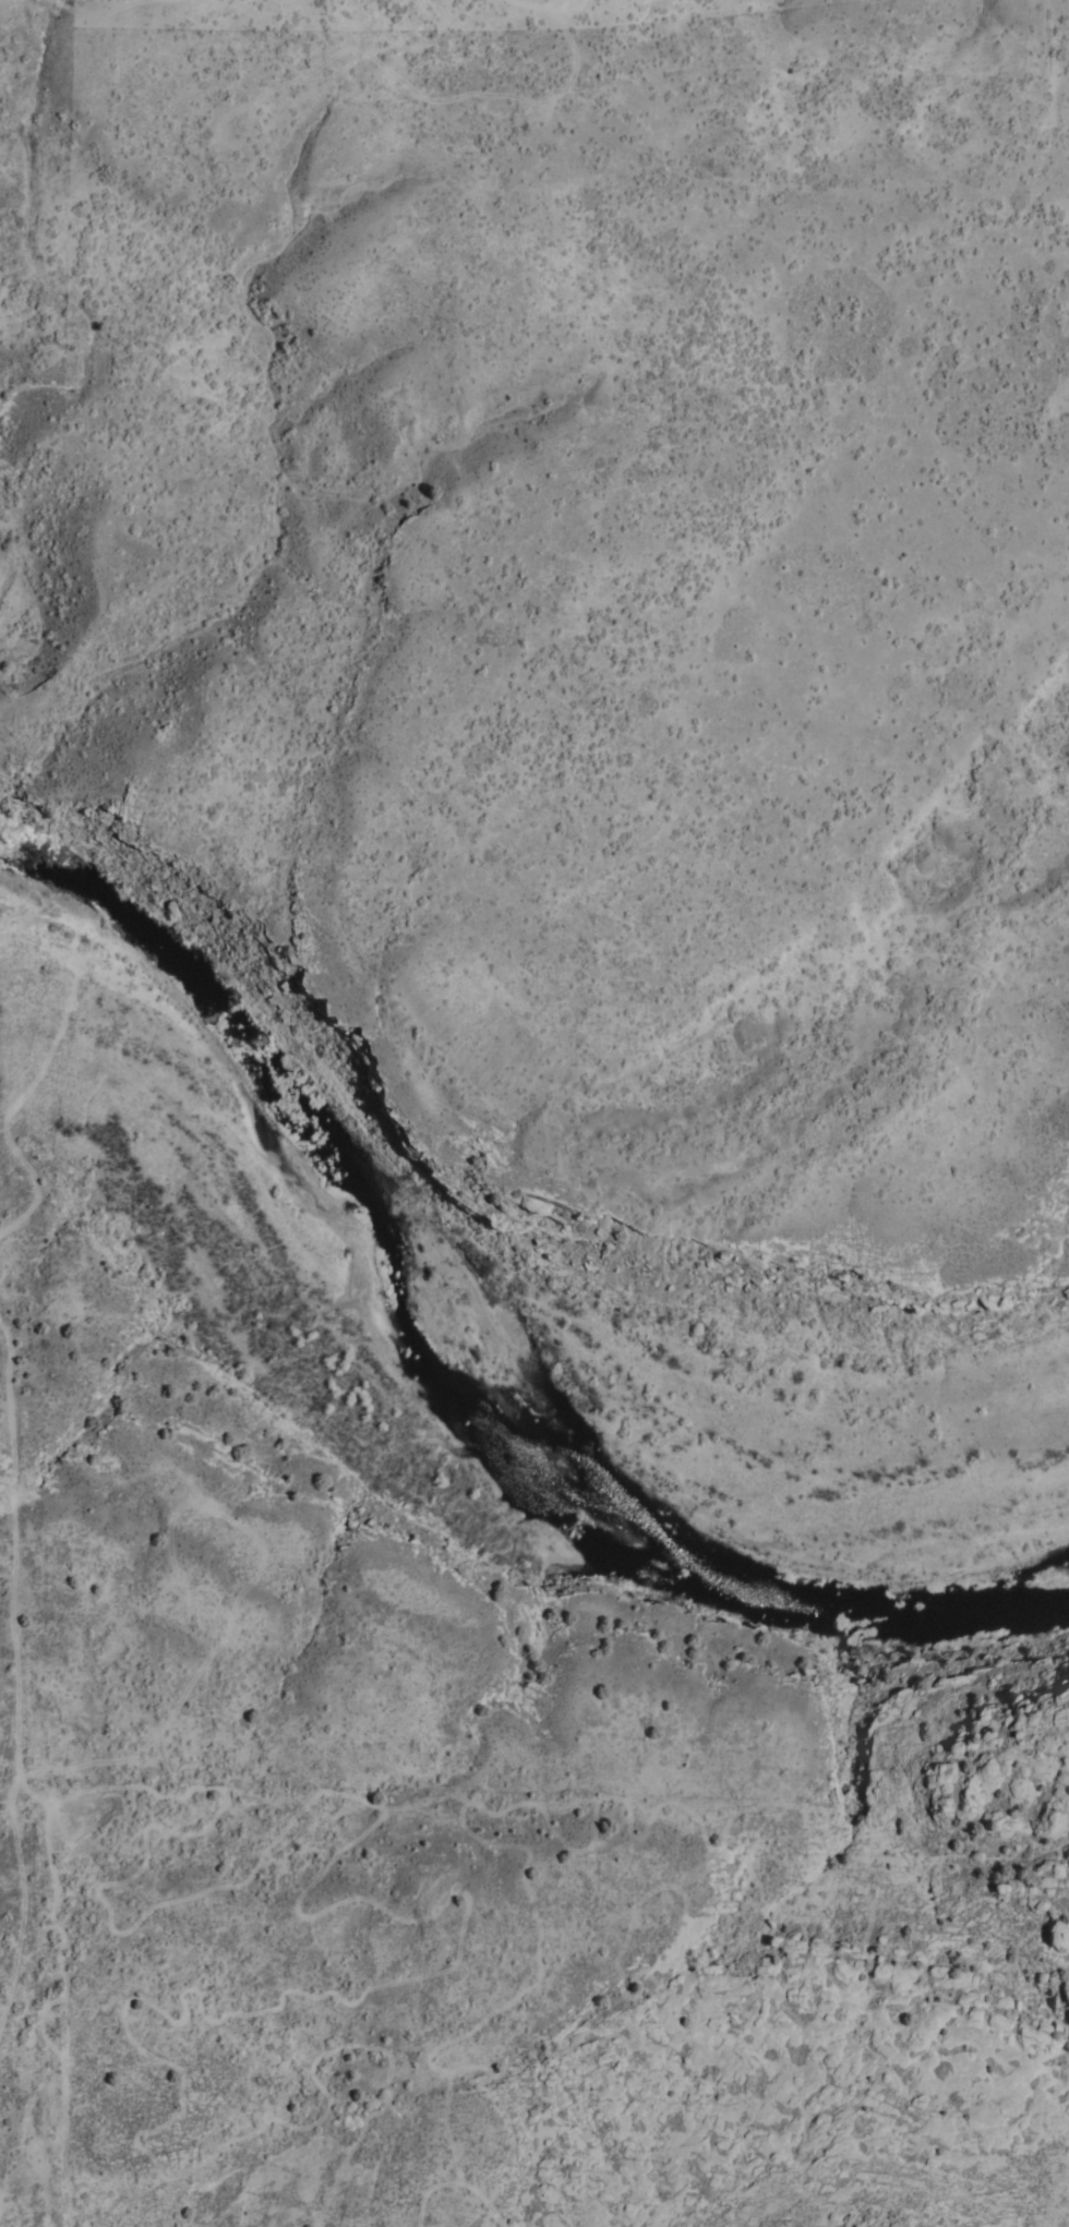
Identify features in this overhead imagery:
river: (430, 1384)

